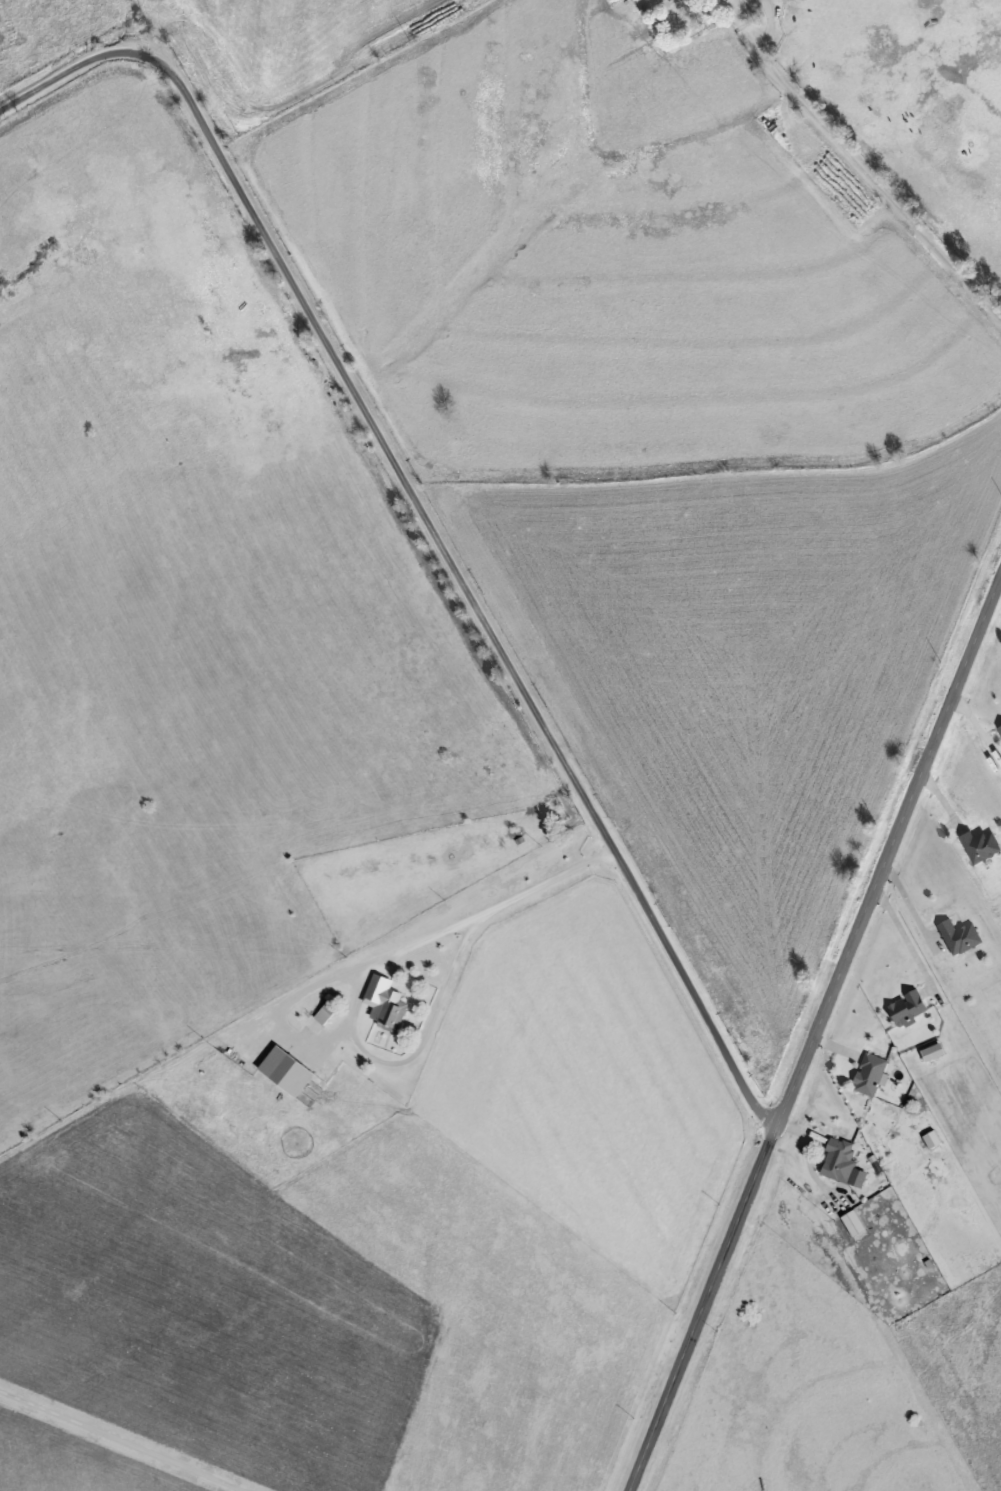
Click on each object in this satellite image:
building: (650, 0)
building: (780, 1)
road: (768, 27)
road: (857, 165)
road: (420, 518)
building: (998, 728)
building: (974, 843)
road: (542, 882)
road: (909, 903)
building: (955, 935)
road: (905, 936)
building: (902, 1006)
building: (385, 1010)
road: (431, 1024)
road: (811, 1026)
building: (927, 1051)
building: (865, 1072)
building: (834, 1159)
building: (849, 1221)
road: (120, 1442)

